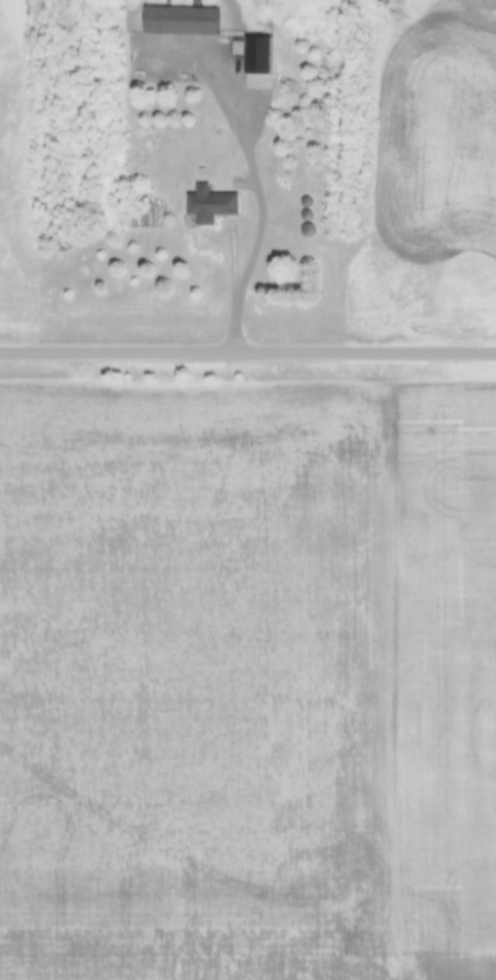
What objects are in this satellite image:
building: (185, 22)
building: (261, 55)
road: (262, 180)
building: (215, 207)
road: (248, 350)

